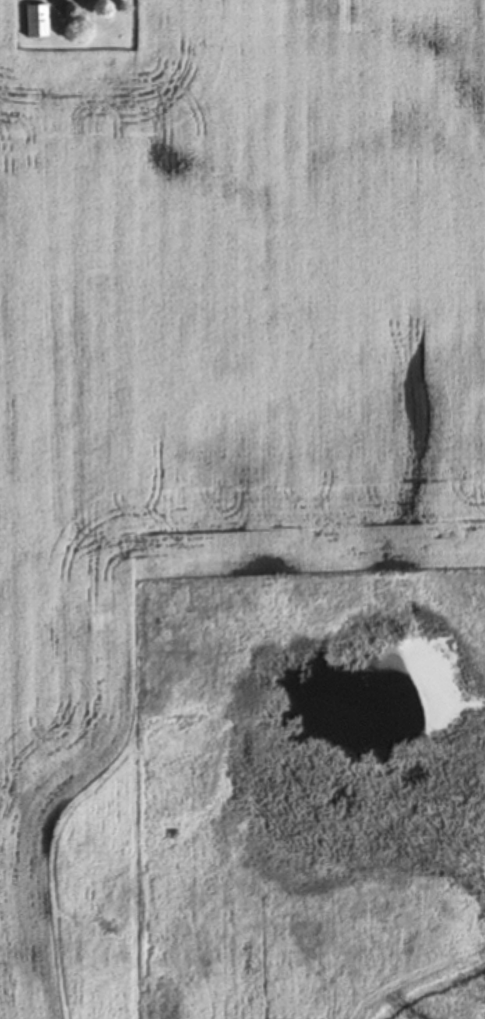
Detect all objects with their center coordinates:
building: (35, 19)

